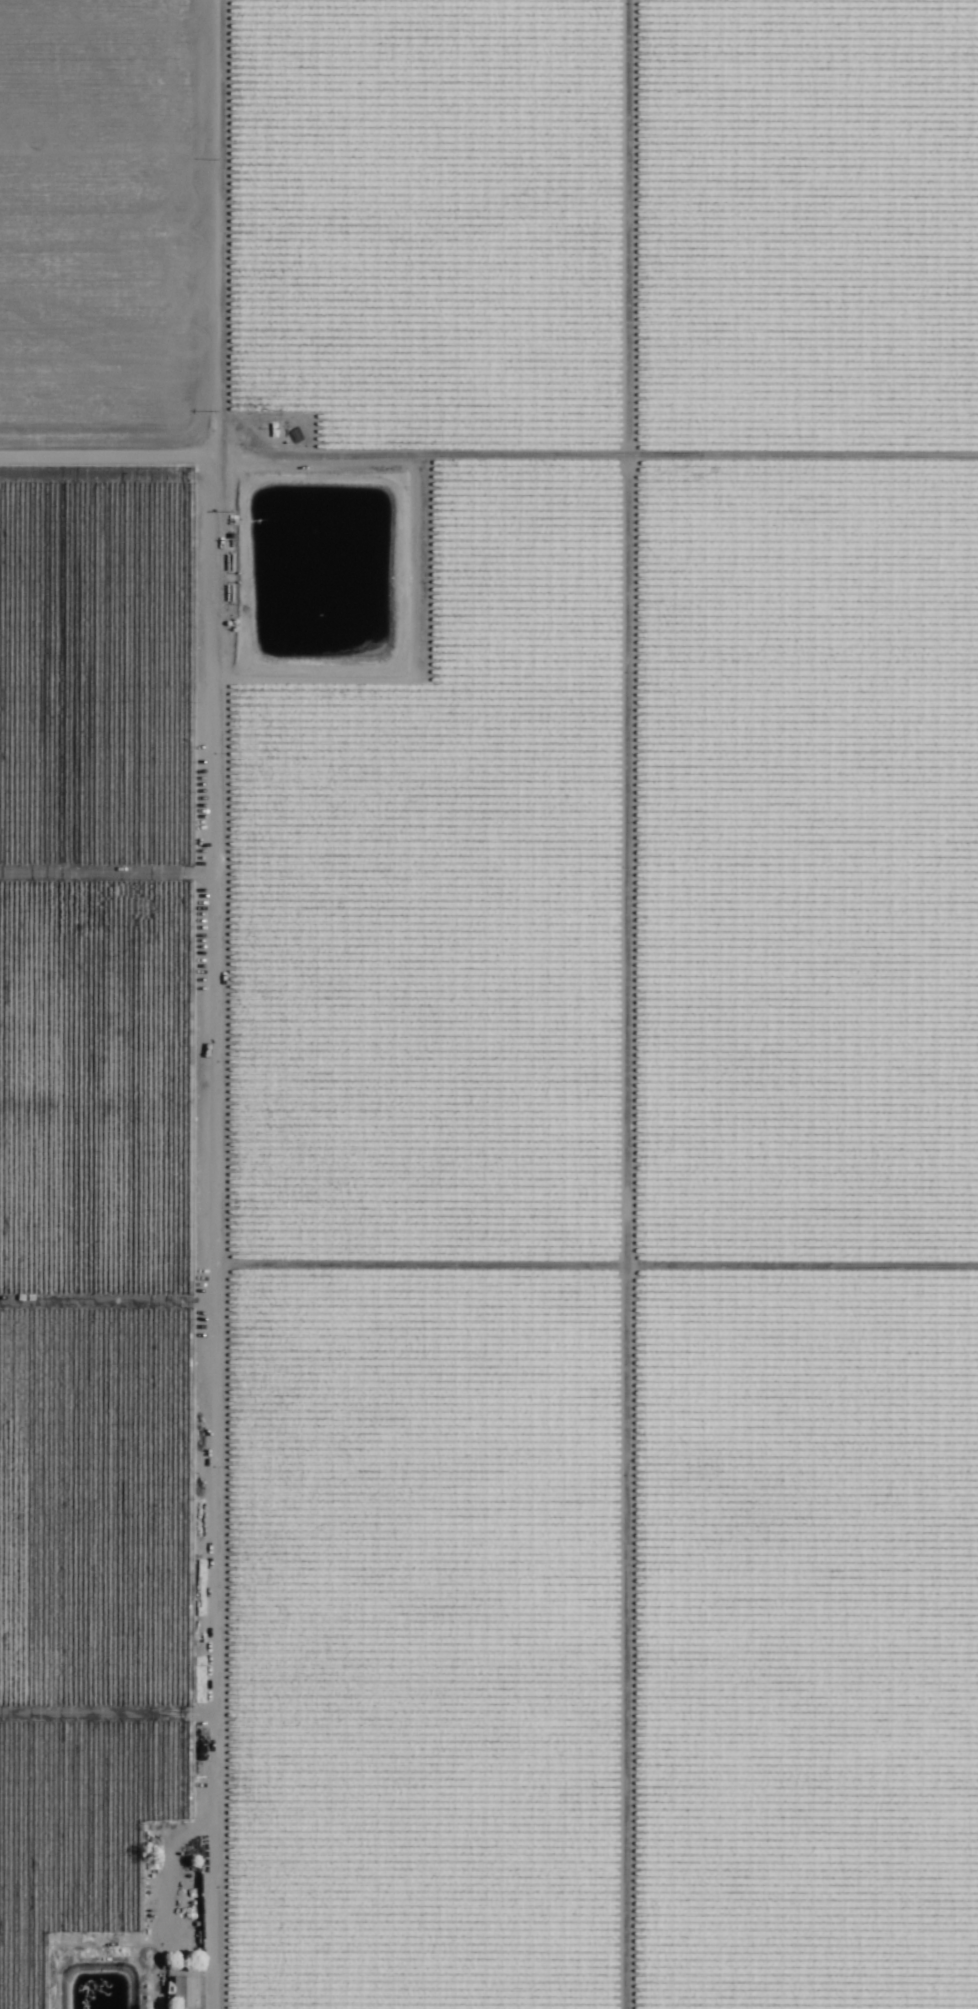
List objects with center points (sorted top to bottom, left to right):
road: (602, 460)
road: (224, 1004)
crop: (489, 1004)
wastewater plant: (80, 1990)
building: (182, 1992)

